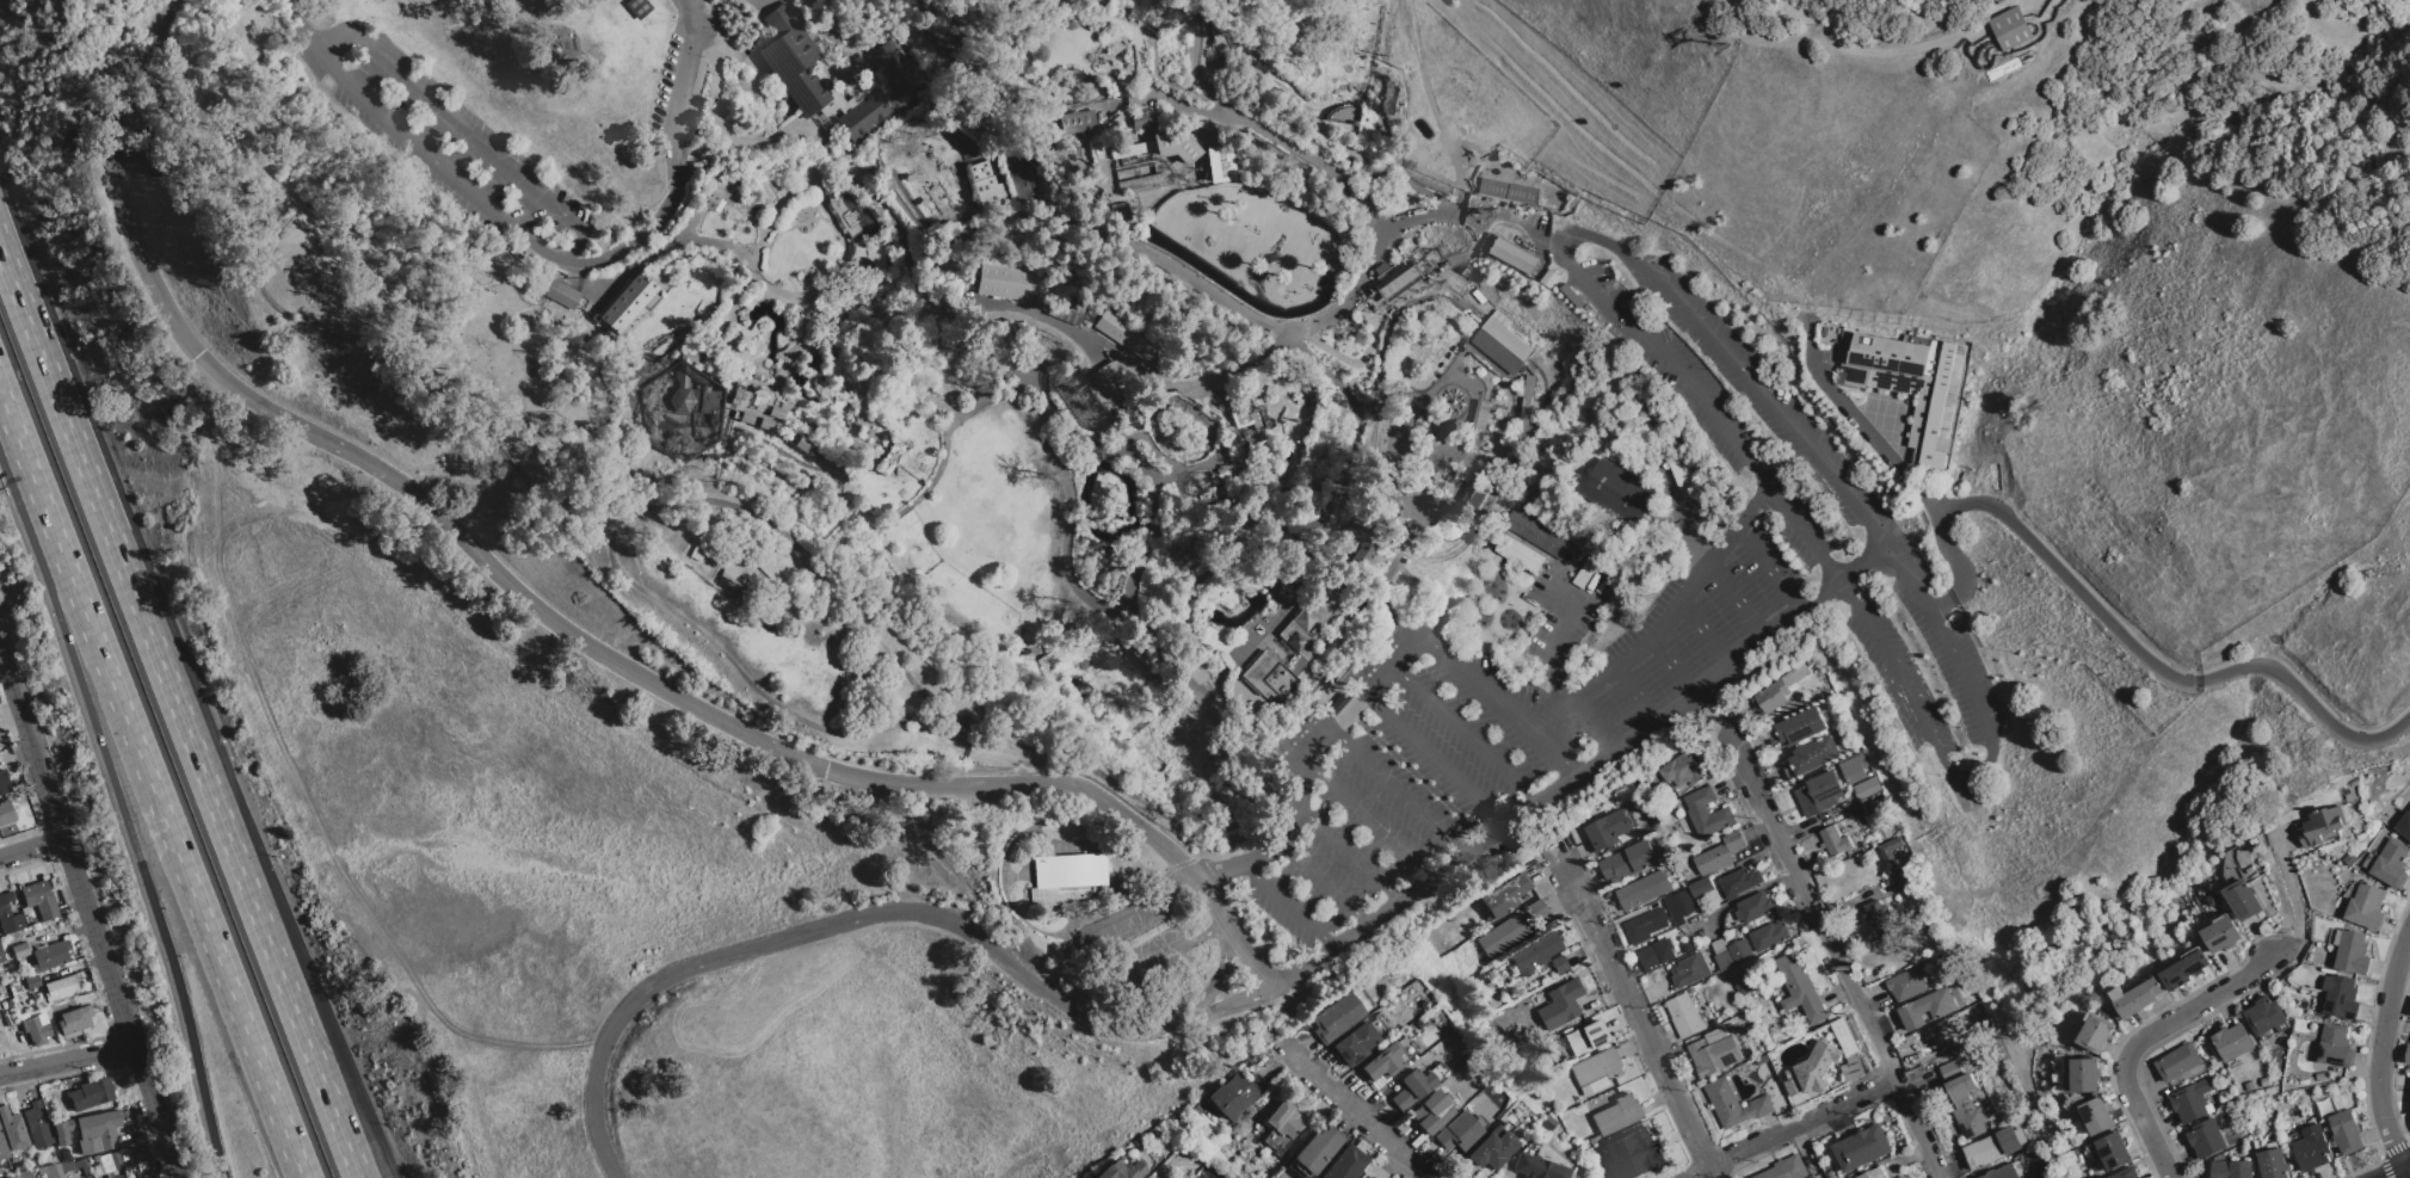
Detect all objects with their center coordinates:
building: (636, 6)
road: (1098, 16)
building: (1040, 24)
building: (2009, 29)
aerialway pylon: (1720, 51)
road: (686, 53)
building: (1038, 54)
aerialway pylon: (1381, 55)
building: (791, 57)
road: (1052, 64)
parking lot: (680, 69)
road: (1155, 74)
road: (1116, 84)
building: (895, 90)
building: (865, 91)
road: (1425, 94)
road: (1188, 105)
building: (1144, 118)
building: (1078, 122)
building: (1202, 127)
road: (464, 131)
building: (1184, 140)
building: (1171, 142)
parking lot: (445, 143)
road: (1339, 143)
aerialway pylon: (1367, 147)
building: (1194, 149)
building: (1219, 164)
building: (1136, 165)
road: (671, 179)
building: (981, 181)
building: (825, 187)
building: (1166, 191)
building: (1512, 192)
building: (1152, 195)
building: (1144, 196)
road: (1451, 199)
building: (709, 201)
building: (1118, 211)
road: (904, 214)
aerialway pylon: (1492, 214)
building: (844, 215)
road: (499, 216)
road: (1473, 217)
road: (685, 223)
road: (853, 236)
building: (862, 236)
road: (844, 240)
aerialway pylon: (1351, 245)
road: (734, 249)
building: (877, 254)
aerialway pylon: (1436, 254)
road: (1155, 255)
building: (1515, 255)
road: (641, 260)
road: (721, 261)
road: (849, 265)
road: (822, 273)
road: (807, 278)
building: (998, 282)
building: (1394, 282)
road: (791, 285)
building: (559, 295)
road: (867, 297)
building: (627, 302)
building: (1044, 302)
railway: (1465, 303)
railway: (1463, 306)
building: (945, 308)
building: (1064, 309)
building: (1090, 316)
road: (930, 317)
road: (902, 319)
building: (1123, 333)
building: (1500, 345)
building: (739, 353)
road: (867, 357)
road: (1120, 357)
road: (1361, 358)
building: (1078, 362)
aerialway pylon: (1332, 365)
railway: (1379, 375)
building: (1115, 377)
road: (896, 378)
road: (764, 380)
road: (732, 381)
building: (1910, 383)
building: (1098, 390)
building: (696, 394)
road: (1207, 396)
building: (1525, 402)
building: (754, 408)
building: (1253, 413)
road: (756, 415)
building: (1480, 415)
building: (1424, 423)
road: (783, 427)
road: (1724, 431)
building: (1398, 436)
building: (802, 443)
road: (868, 444)
road: (1409, 444)
road: (813, 449)
building: (1382, 449)
road: (879, 454)
building: (890, 456)
road: (1165, 458)
aerialway pylon: (1318, 460)
building: (1405, 468)
road: (1897, 469)
road: (1339, 474)
road: (1163, 475)
building: (1683, 475)
road: (26, 482)
building: (1473, 493)
building: (1619, 493)
park: (1192, 494)
road: (101, 501)
building: (1309, 504)
building: (1386, 506)
road: (1420, 506)
road: (1071, 518)
road: (1219, 523)
building: (1447, 525)
building: (1537, 534)
parking lot: (1769, 541)
road: (1145, 548)
building: (1363, 551)
building: (689, 553)
building: (1521, 553)
road: (1768, 567)
road: (1326, 574)
building: (726, 575)
road: (504, 582)
building: (719, 587)
road: (1736, 598)
building: (1311, 622)
road: (1657, 629)
road: (1336, 630)
road: (1702, 631)
road: (1555, 642)
building: (1294, 664)
road: (1295, 664)
road: (1344, 665)
road: (1672, 667)
road: (2158, 668)
building: (1270, 677)
building: (1780, 690)
road: (1637, 696)
road: (1716, 699)
road: (1496, 701)
building: (1801, 727)
road: (1465, 733)
building: (0, 744)
road: (1391, 752)
railway: (1054, 754)
building: (1812, 757)
road: (1434, 759)
road: (1303, 767)
building: (1854, 767)
building: (1685, 770)
road: (1583, 772)
building: (4, 782)
parking lot: (1397, 782)
building: (1866, 789)
road: (1398, 791)
building: (1819, 794)
building: (1856, 812)
building: (5, 813)
building: (1707, 813)
road: (1369, 819)
building: (1653, 821)
building: (2322, 825)
building: (2404, 825)
building: (1576, 832)
building: (1609, 832)
building: (1835, 841)
building: (2252, 843)
building: (1890, 849)
road: (31, 850)
road: (1349, 851)
building: (1719, 853)
building: (2349, 859)
building: (1629, 862)
building: (2391, 863)
road: (141, 865)
road: (177, 865)
building: (1067, 880)
building: (1903, 880)
road: (1324, 882)
building: (1739, 882)
building: (1701, 887)
building: (1644, 890)
building: (1504, 895)
road: (1209, 896)
building: (39, 899)
building: (2244, 900)
road: (1290, 905)
building: (1682, 905)
building: (2367, 907)
building: (1755, 908)
building: (1535, 909)
road: (867, 914)
building: (8, 915)
road: (90, 917)
building: (1878, 920)
building: (1645, 925)
building: (2223, 933)
building: (1502, 935)
building: (1768, 937)
building: (2335, 938)
road: (1833, 946)
building: (19, 950)
building: (1740, 951)
building: (1535, 952)
building: (2353, 954)
building: (1, 955)
building: (50, 955)
road: (1246, 955)
building: (1657, 955)
building: (1722, 955)
building: (1559, 964)
road: (1080, 968)
building: (2186, 969)
road: (308, 972)
building: (1689, 972)
building: (1490, 973)
road: (282, 975)
road: (1216, 980)
building: (32, 981)
building: (1905, 985)
building: (61, 987)
building: (1743, 987)
building: (2137, 997)
building: (2341, 997)
building: (1360, 999)
building: (1804, 999)
building: (1560, 1004)
road: (1634, 1007)
building: (1928, 1009)
road: (2195, 1009)
building: (11, 1012)
building: (23, 1016)
building: (2266, 1016)
building: (1685, 1017)
building: (1336, 1018)
building: (74, 1020)
building: (36, 1029)
building: (2097, 1032)
building: (1585, 1037)
building: (2232, 1042)
building: (1355, 1043)
building: (2335, 1046)
building: (1714, 1053)
building: (2408, 1053)
road: (2389, 1056)
road: (66, 1061)
building: (1380, 1062)
building: (1816, 1062)
building: (2177, 1062)
building: (1950, 1069)
building: (1595, 1071)
building: (2083, 1075)
building: (2319, 1077)
building: (2266, 1081)
building: (1410, 1088)
building: (92, 1093)
building: (1235, 1094)
building: (2193, 1100)
building: (1734, 1104)
building: (1966, 1106)
road: (1350, 1110)
building: (1616, 1114)
building: (1429, 1115)
building: (2098, 1116)
building: (1283, 1120)
building: (2219, 1121)
building: (1548, 1122)
building: (37, 1124)
building: (56, 1127)
building: (13, 1128)
building: (100, 1128)
road: (1793, 1129)
building: (2346, 1131)
building: (1459, 1134)
building: (2297, 1136)
building: (2206, 1139)
building: (1592, 1140)
building: (1995, 1146)
building: (2272, 1146)
building: (2, 1148)
building: (82, 1148)
building: (1491, 1148)
building: (2311, 1148)
building: (1317, 1149)
building: (1862, 1149)
building: (2114, 1151)
building: (1633, 1153)
building: (111, 1161)
building: (1345, 1164)
building: (2273, 1164)
building: (82, 1166)
building: (1536, 1167)
building: (1786, 1168)
building: (2231, 1168)
building: (1121, 1170)
building: (51, 1171)
building: (2002, 1172)
building: (2039, 1172)
road: (2397, 1172)
building: (2127, 1173)
building: (27, 1174)
building: (144, 1174)
building: (1830, 1174)
building: (1874, 1174)
building: (118, 1176)
building: (1369, 1177)
building: (1900, 1177)

